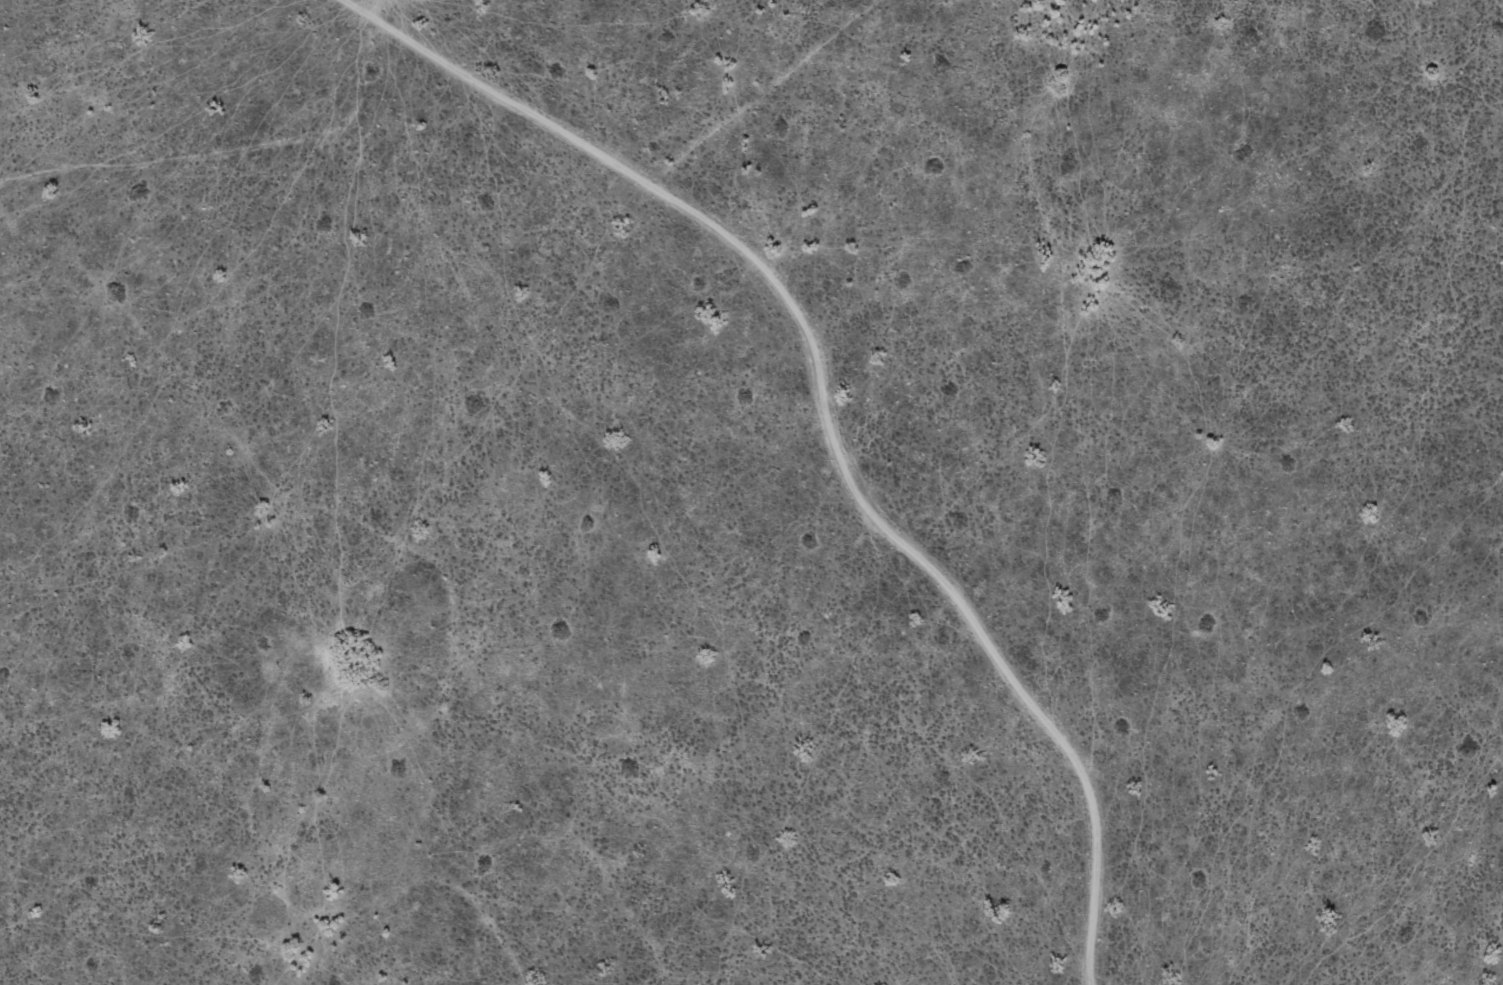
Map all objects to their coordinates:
road: (843, 413)

